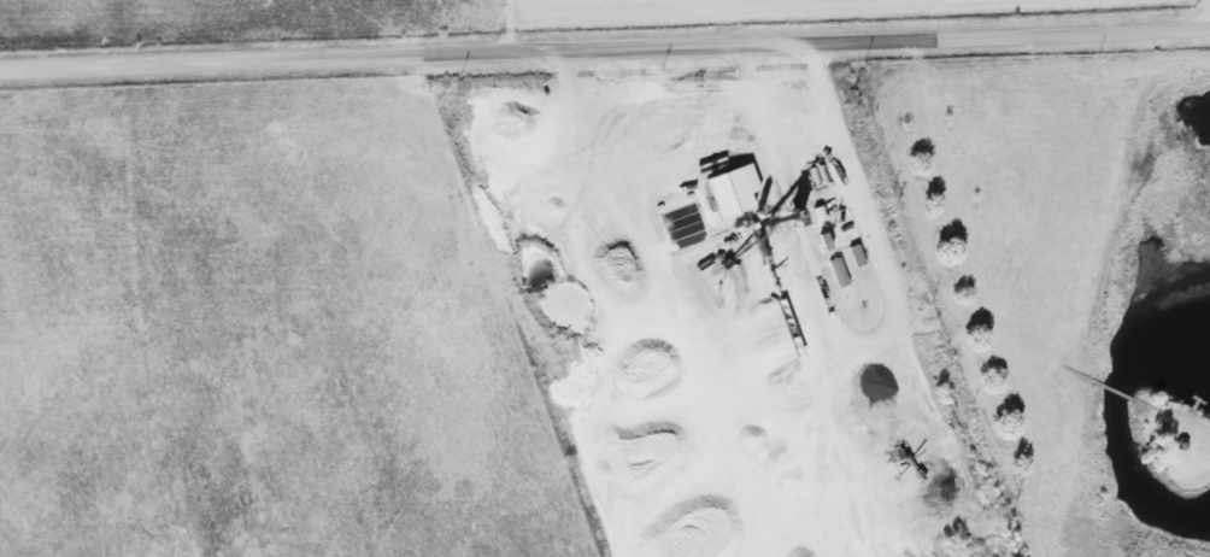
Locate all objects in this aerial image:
road: (1208, 11)
road: (604, 41)
building: (726, 192)
building: (834, 271)

